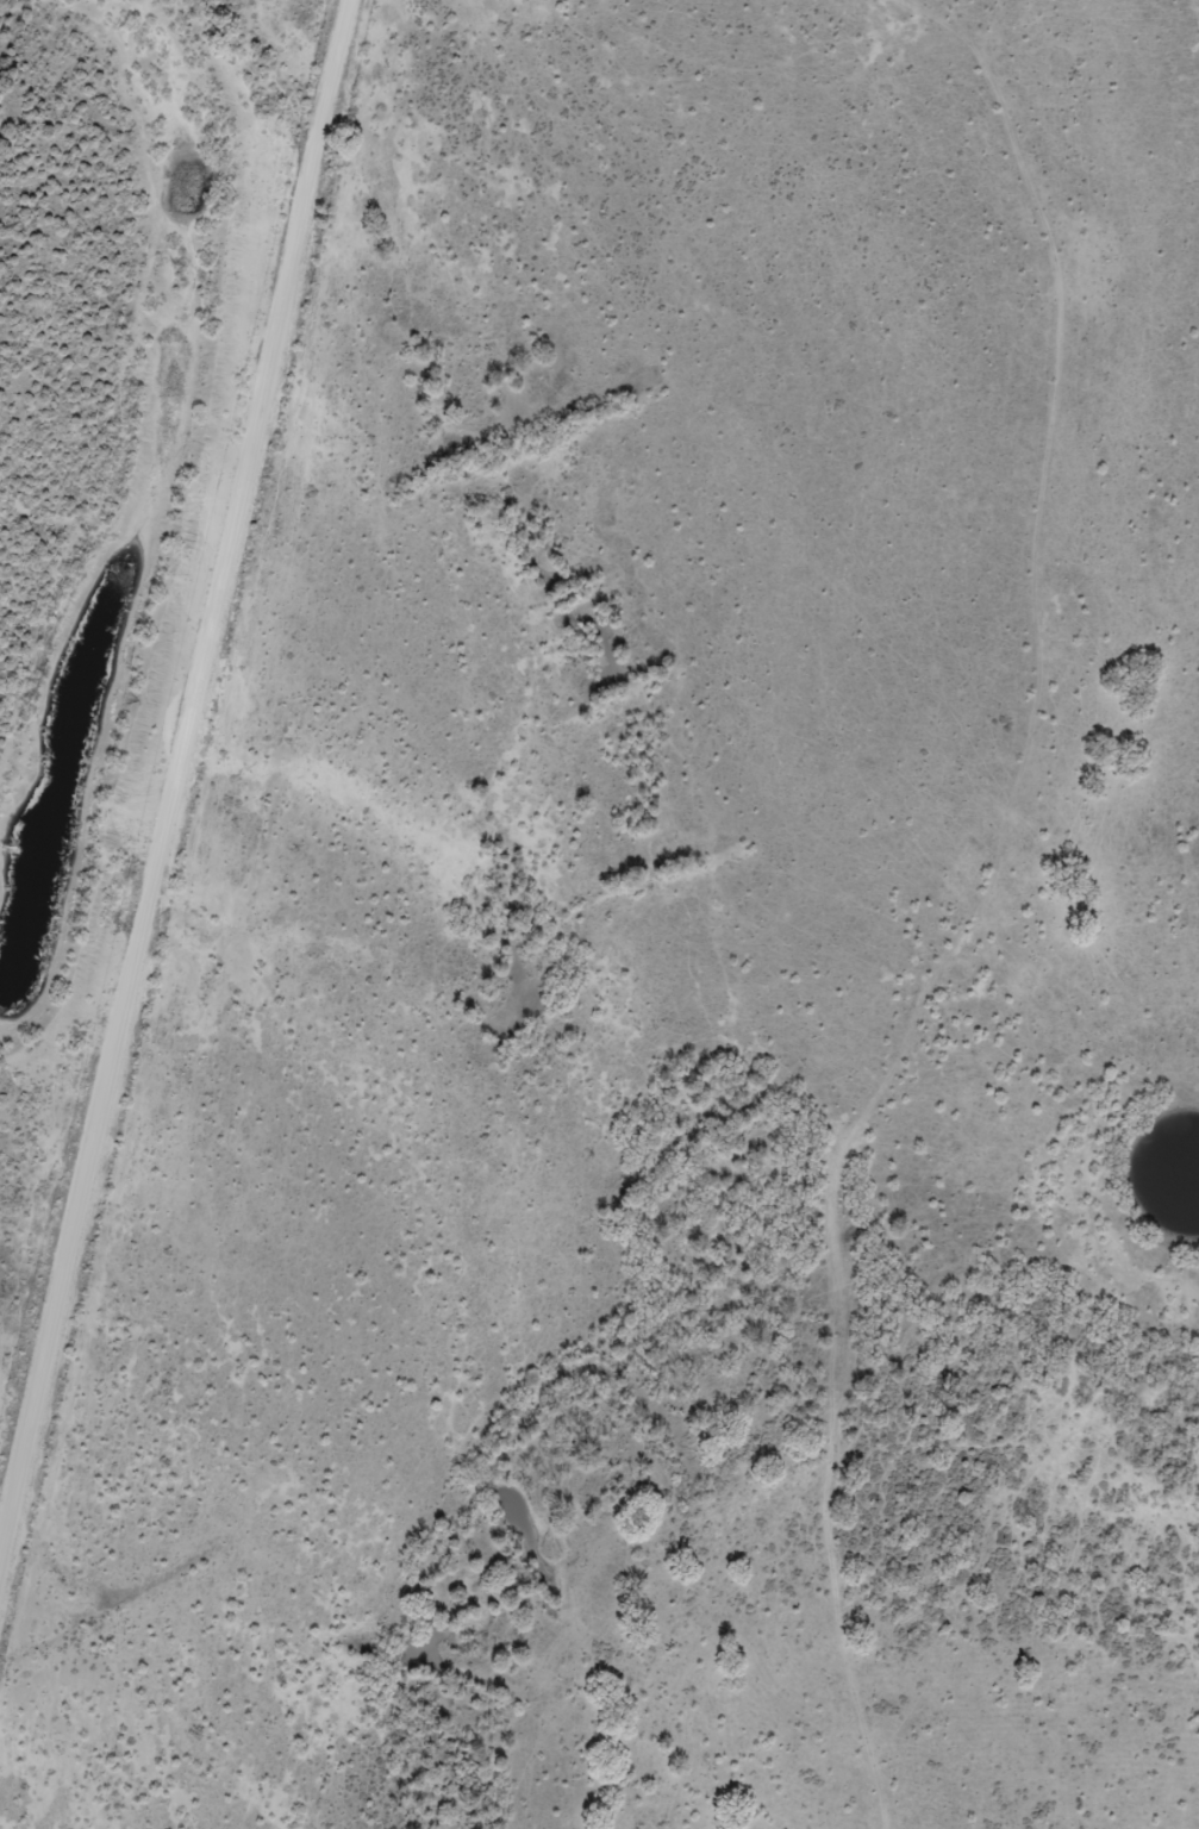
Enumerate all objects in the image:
road: (210, 894)

